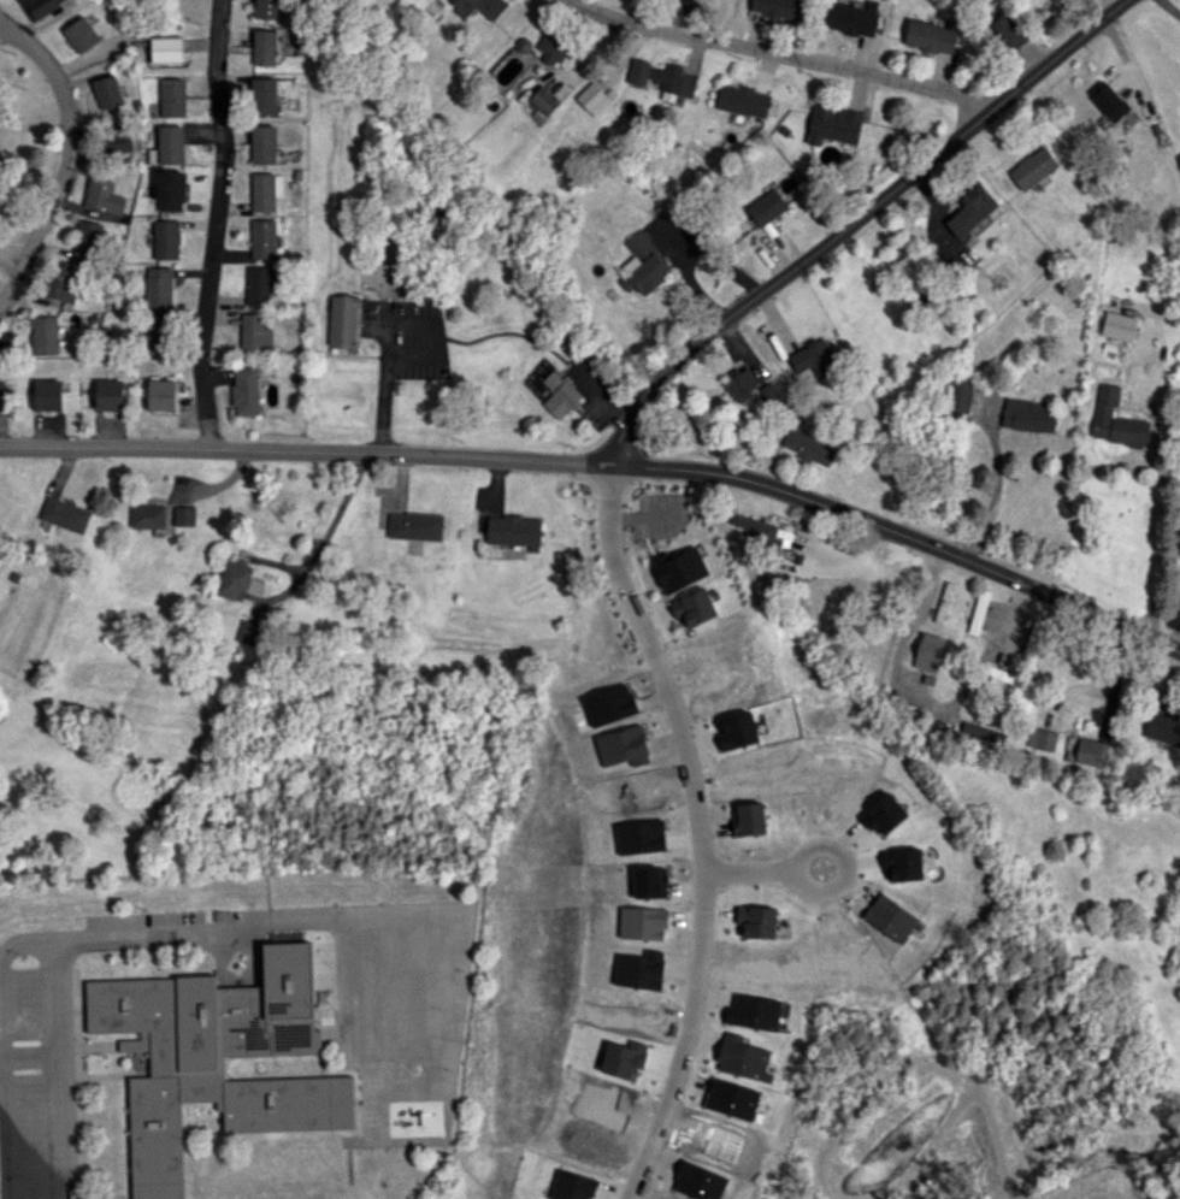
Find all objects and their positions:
building: (458, 2)
building: (41, 6)
road: (1169, 6)
building: (489, 7)
building: (778, 7)
building: (1048, 7)
building: (265, 8)
building: (850, 19)
building: (1007, 31)
building: (81, 34)
building: (930, 36)
building: (262, 47)
building: (553, 47)
building: (165, 48)
road: (777, 57)
building: (661, 76)
building: (106, 91)
building: (171, 96)
building: (264, 96)
building: (591, 98)
building: (543, 100)
building: (743, 100)
building: (1108, 100)
building: (833, 124)
building: (117, 137)
building: (262, 143)
building: (170, 144)
road: (66, 155)
building: (1178, 155)
building: (1032, 167)
building: (170, 190)
building: (265, 190)
building: (102, 196)
building: (760, 209)
building: (970, 209)
road: (852, 220)
road: (216, 223)
building: (165, 238)
building: (262, 238)
building: (85, 241)
building: (643, 265)
building: (61, 284)
building: (259, 285)
building: (158, 287)
building: (344, 320)
building: (1119, 325)
road: (397, 326)
building: (157, 333)
building: (254, 333)
building: (43, 335)
building: (571, 344)
building: (814, 358)
building: (744, 388)
building: (244, 390)
building: (4, 394)
building: (108, 394)
building: (161, 394)
building: (560, 394)
building: (960, 394)
building: (47, 395)
building: (1028, 414)
building: (1115, 420)
building: (809, 445)
road: (306, 450)
road: (995, 491)
building: (65, 514)
building: (147, 515)
building: (184, 515)
building: (415, 526)
building: (755, 526)
building: (513, 530)
road: (902, 534)
road: (324, 536)
road: (1156, 549)
building: (679, 568)
building: (234, 579)
building: (943, 602)
building: (694, 607)
building: (978, 612)
building: (247, 632)
building: (928, 651)
road: (1111, 684)
road: (925, 701)
road: (1113, 708)
building: (1162, 728)
building: (737, 731)
building: (980, 732)
building: (1040, 738)
building: (1072, 743)
building: (623, 745)
building: (1086, 751)
road: (689, 831)
building: (639, 837)
road: (765, 850)
building: (903, 863)
building: (890, 917)
building: (642, 923)
road: (116, 937)
building: (638, 969)
building: (753, 1012)
road: (29, 1057)
building: (216, 1058)
building: (743, 1058)
road: (59, 1069)
road: (1, 1165)
building: (572, 1186)

